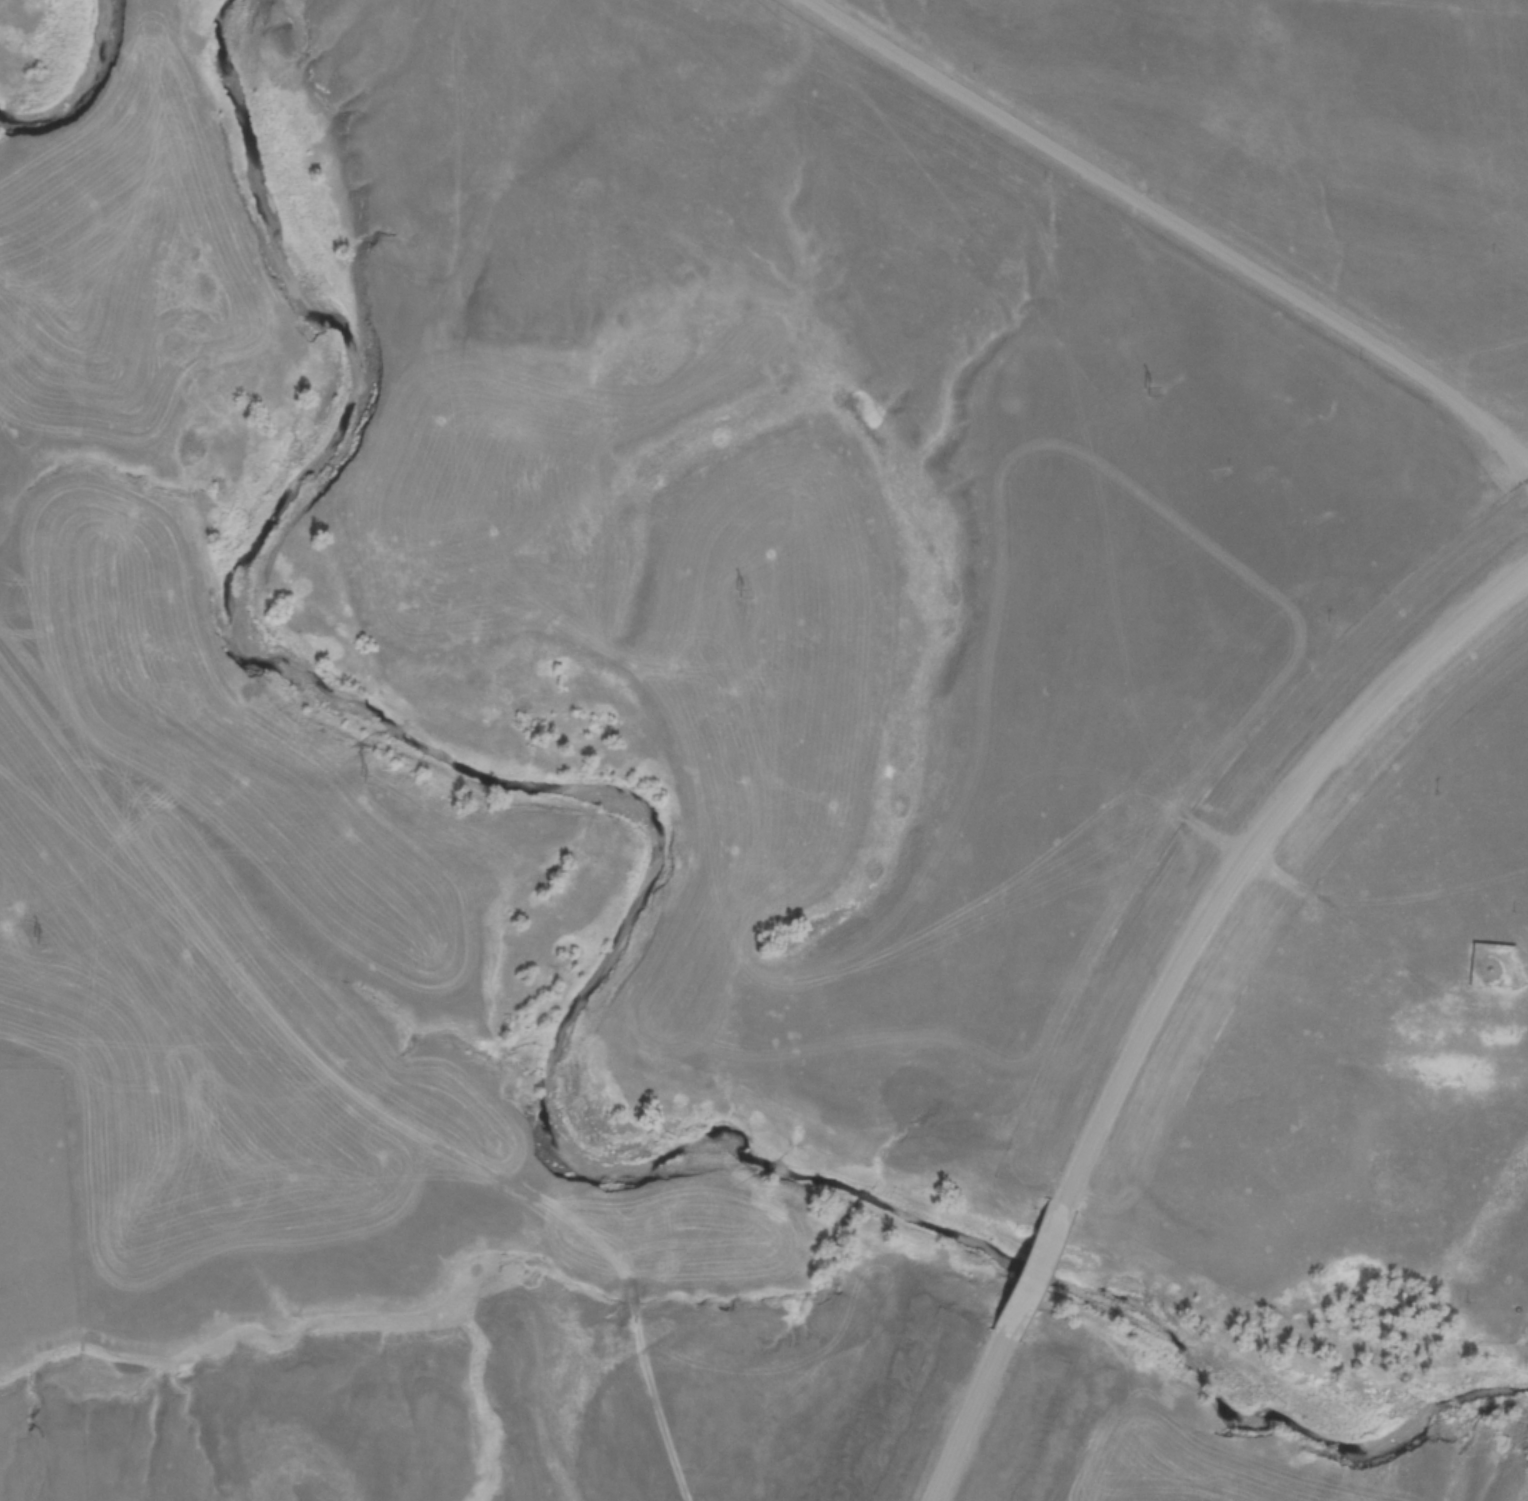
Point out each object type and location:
road: (1175, 223)
power tower: (1143, 392)
power tower: (735, 593)
power tower: (358, 778)
power tower: (32, 939)
road: (1160, 987)
railway: (1527, 1500)

